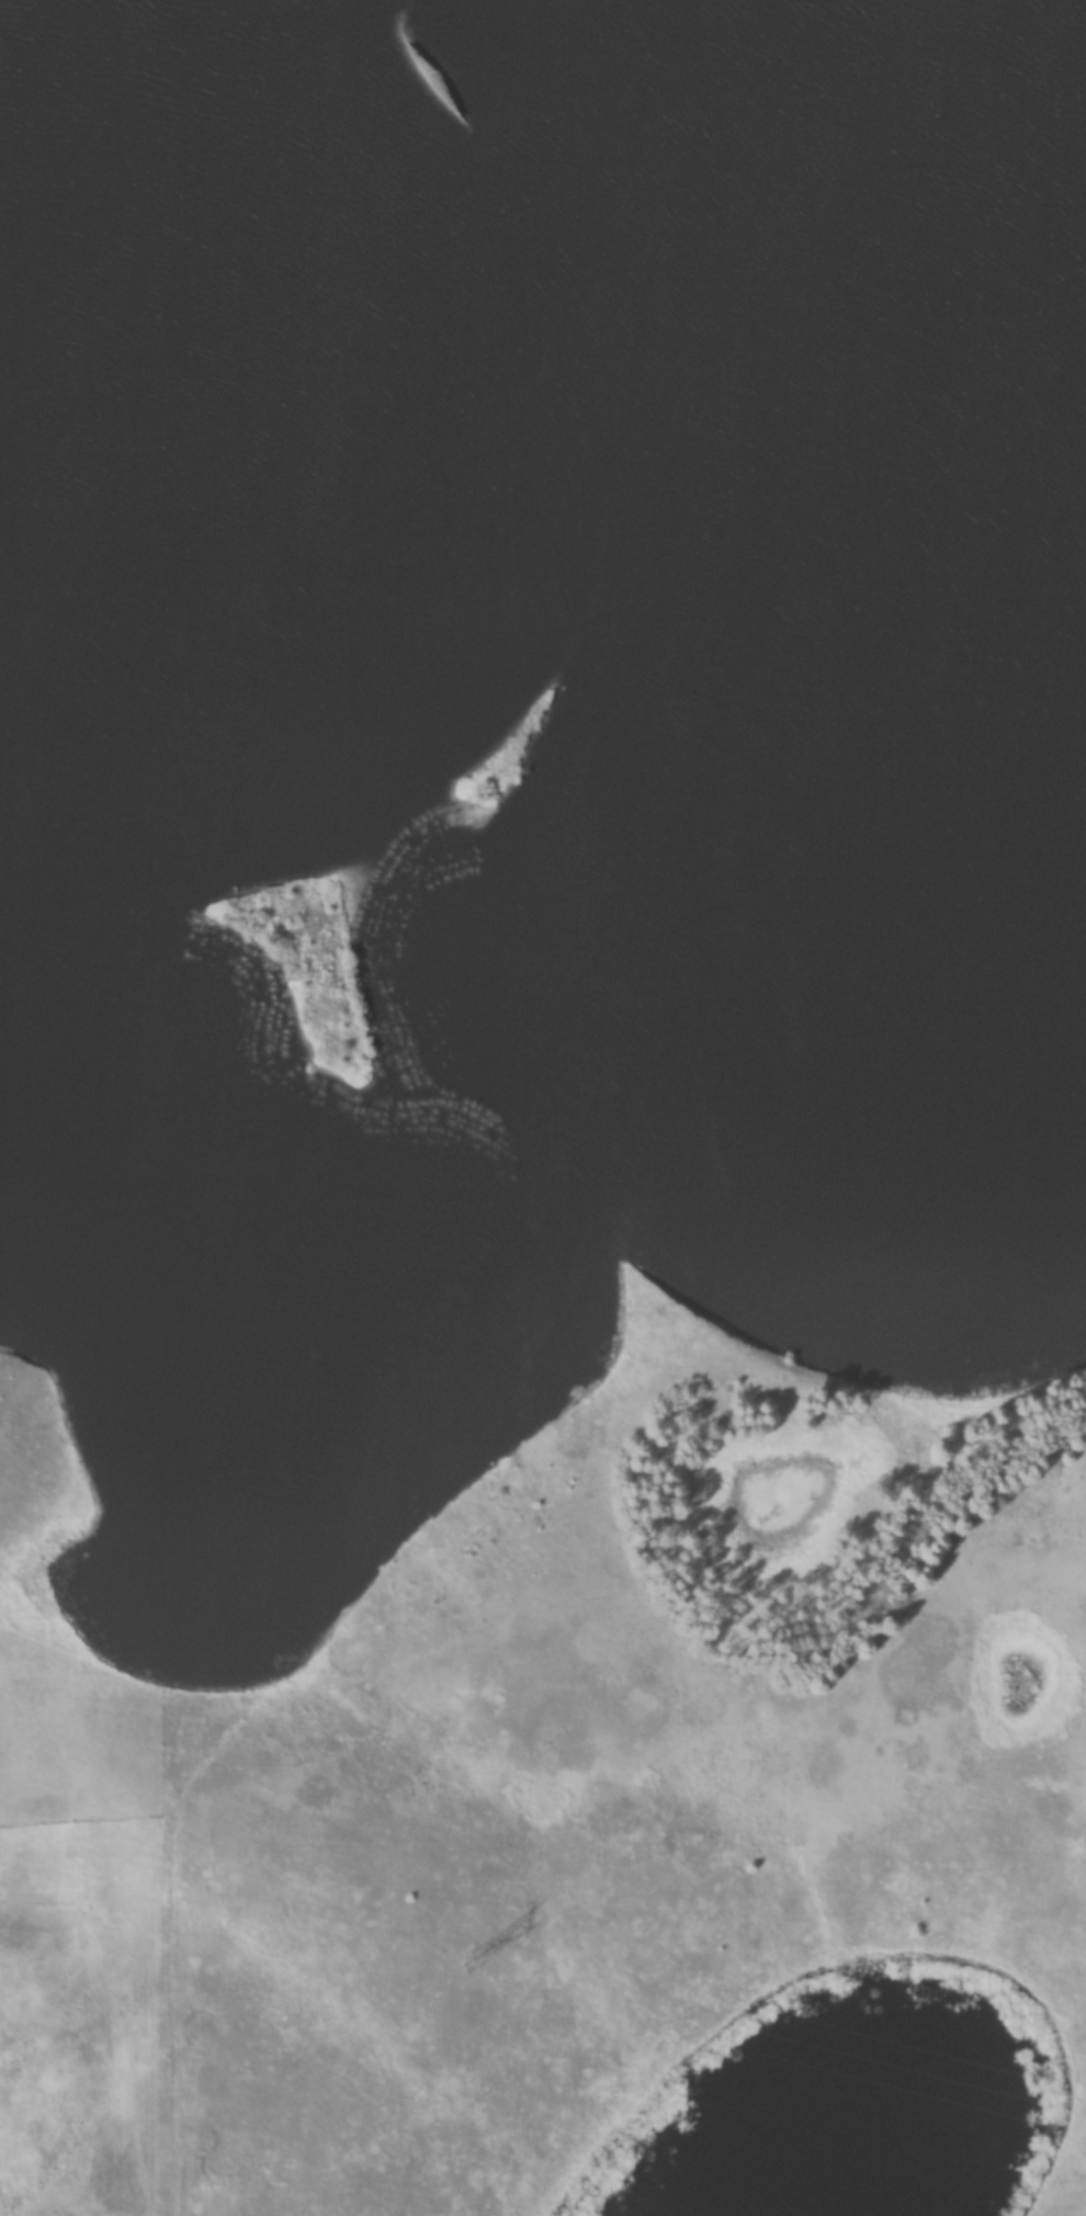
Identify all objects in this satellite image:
power tower: (480, 1961)

